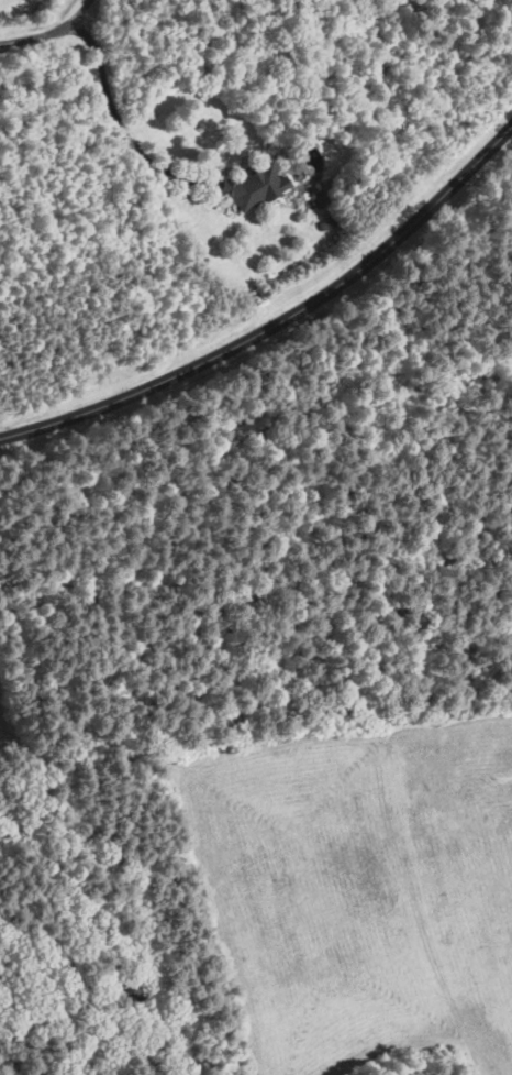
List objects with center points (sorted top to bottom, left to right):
road: (53, 36)
road: (114, 114)
building: (252, 186)
road: (276, 311)

